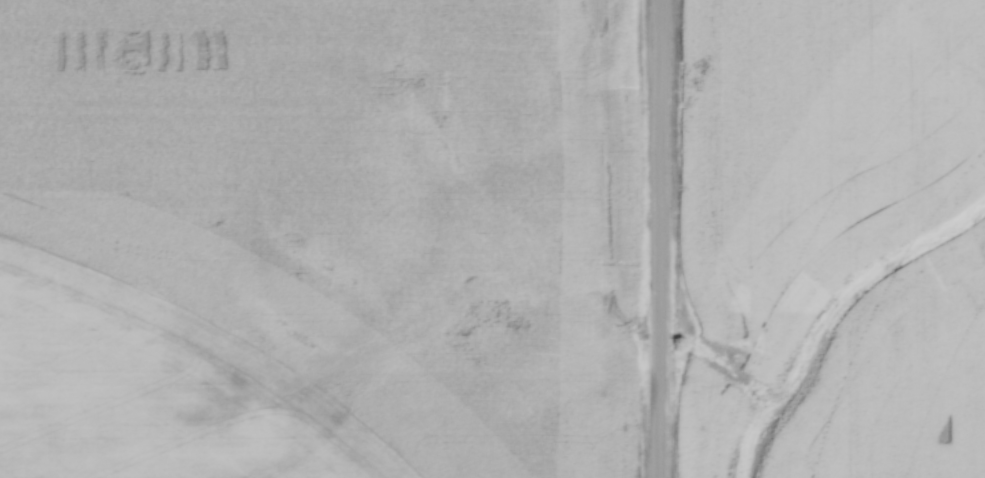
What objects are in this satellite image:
road: (663, 238)

